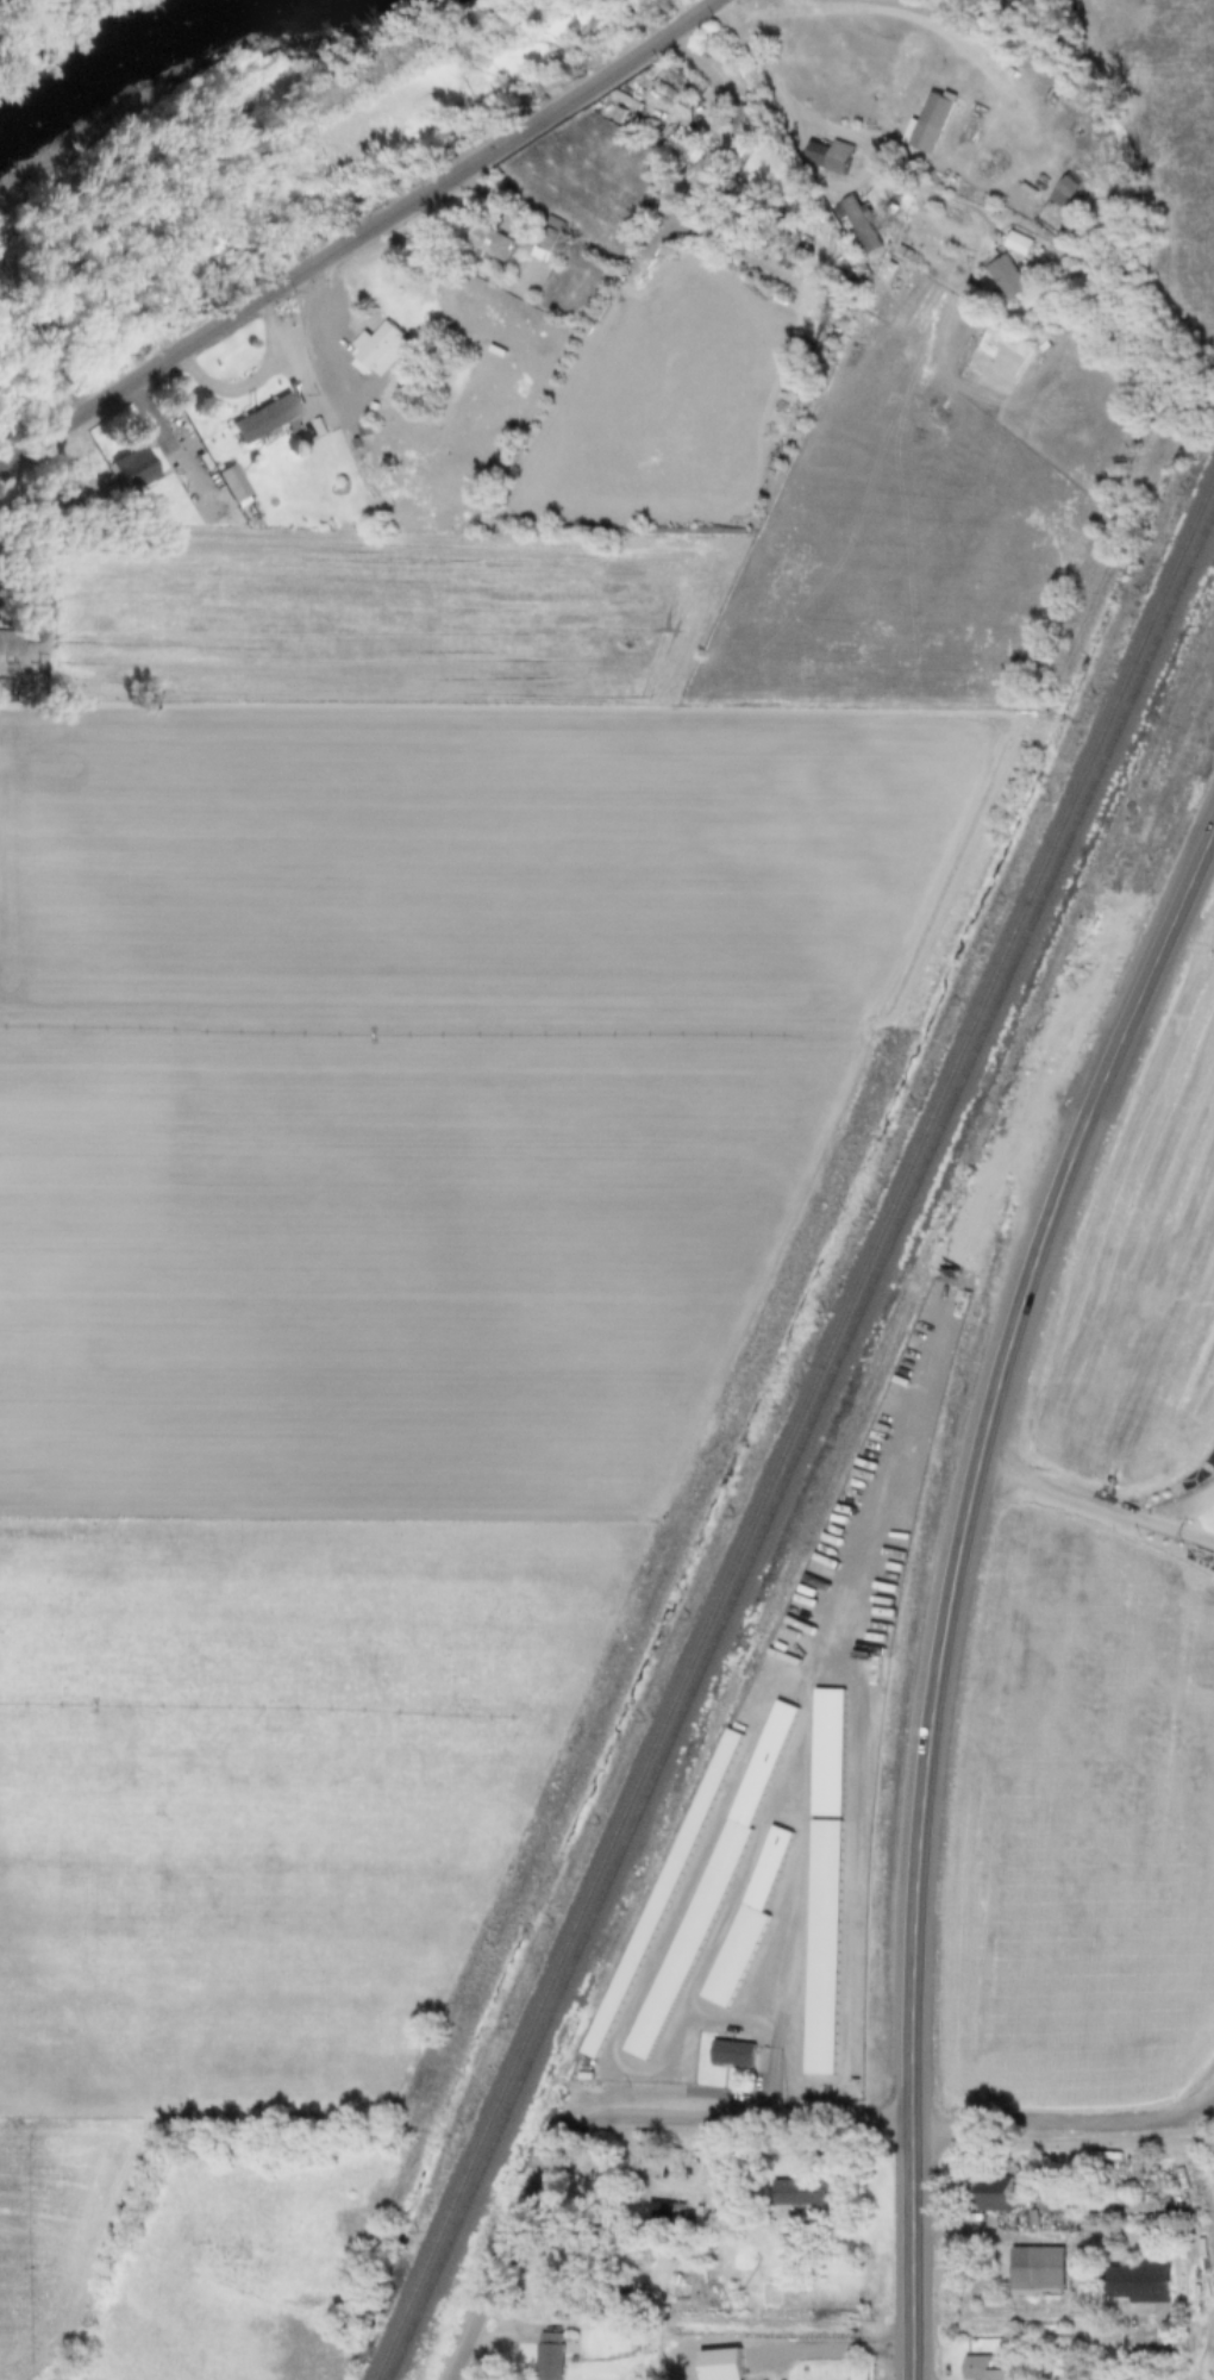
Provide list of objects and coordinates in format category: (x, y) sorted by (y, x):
road: (0, 0)
building: (1035, 4)
road: (920, 19)
road: (790, 92)
building: (747, 121)
building: (934, 123)
building: (692, 145)
building: (833, 156)
building: (1075, 186)
building: (551, 241)
road: (370, 243)
building: (492, 244)
building: (1010, 277)
building: (380, 350)
building: (267, 420)
building: (136, 470)
building: (232, 485)
building: (192, 486)
building: (74, 493)
building: (10, 644)
railway: (795, 1430)
railway: (802, 1449)
road: (1108, 1511)
road: (1168, 1526)
road: (963, 1592)
building: (663, 1893)
building: (689, 1939)
building: (824, 1947)
building: (734, 1955)
building: (736, 2053)
road: (590, 2107)
road: (1062, 2119)
road: (1207, 2123)
building: (597, 2185)
building: (800, 2193)
building: (989, 2193)
building: (1053, 2203)
building: (674, 2215)
building: (1039, 2270)
building: (1141, 2282)
road: (838, 2351)
building: (551, 2356)
building: (734, 2369)
building: (987, 2369)

